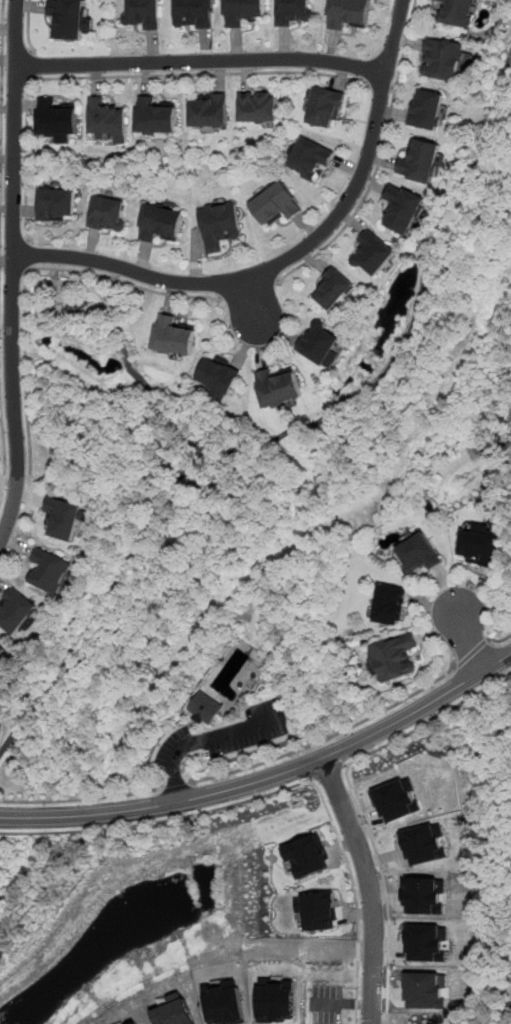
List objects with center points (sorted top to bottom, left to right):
building: (242, 11)
building: (294, 12)
building: (458, 12)
building: (347, 13)
building: (142, 14)
building: (194, 14)
building: (68, 18)
road: (27, 25)
road: (404, 46)
building: (442, 58)
road: (201, 60)
road: (31, 65)
road: (1, 67)
road: (120, 76)
road: (380, 87)
building: (258, 106)
building: (324, 106)
building: (427, 108)
building: (209, 109)
building: (156, 116)
building: (56, 117)
building: (107, 118)
building: (310, 159)
building: (420, 160)
road: (362, 201)
building: (277, 202)
building: (56, 203)
building: (402, 207)
building: (108, 212)
building: (160, 223)
building: (220, 224)
building: (372, 253)
road: (26, 255)
road: (282, 262)
road: (11, 271)
building: (333, 288)
road: (23, 323)
building: (172, 335)
building: (320, 342)
building: (218, 374)
building: (277, 386)
road: (361, 392)
road: (5, 451)
building: (63, 517)
building: (479, 545)
building: (420, 553)
building: (50, 570)
road: (107, 603)
building: (392, 603)
building: (15, 610)
road: (467, 634)
road: (498, 641)
building: (2, 648)
road: (471, 653)
building: (394, 656)
building: (0, 659)
building: (207, 707)
road: (429, 721)
road: (176, 727)
road: (221, 734)
road: (328, 737)
road: (327, 772)
road: (348, 776)
road: (269, 777)
road: (175, 784)
road: (177, 787)
road: (82, 799)
road: (158, 820)
building: (305, 855)
road: (369, 887)
road: (354, 896)
road: (388, 902)
building: (316, 909)
building: (275, 998)
building: (223, 1002)
park: (405, 1019)

